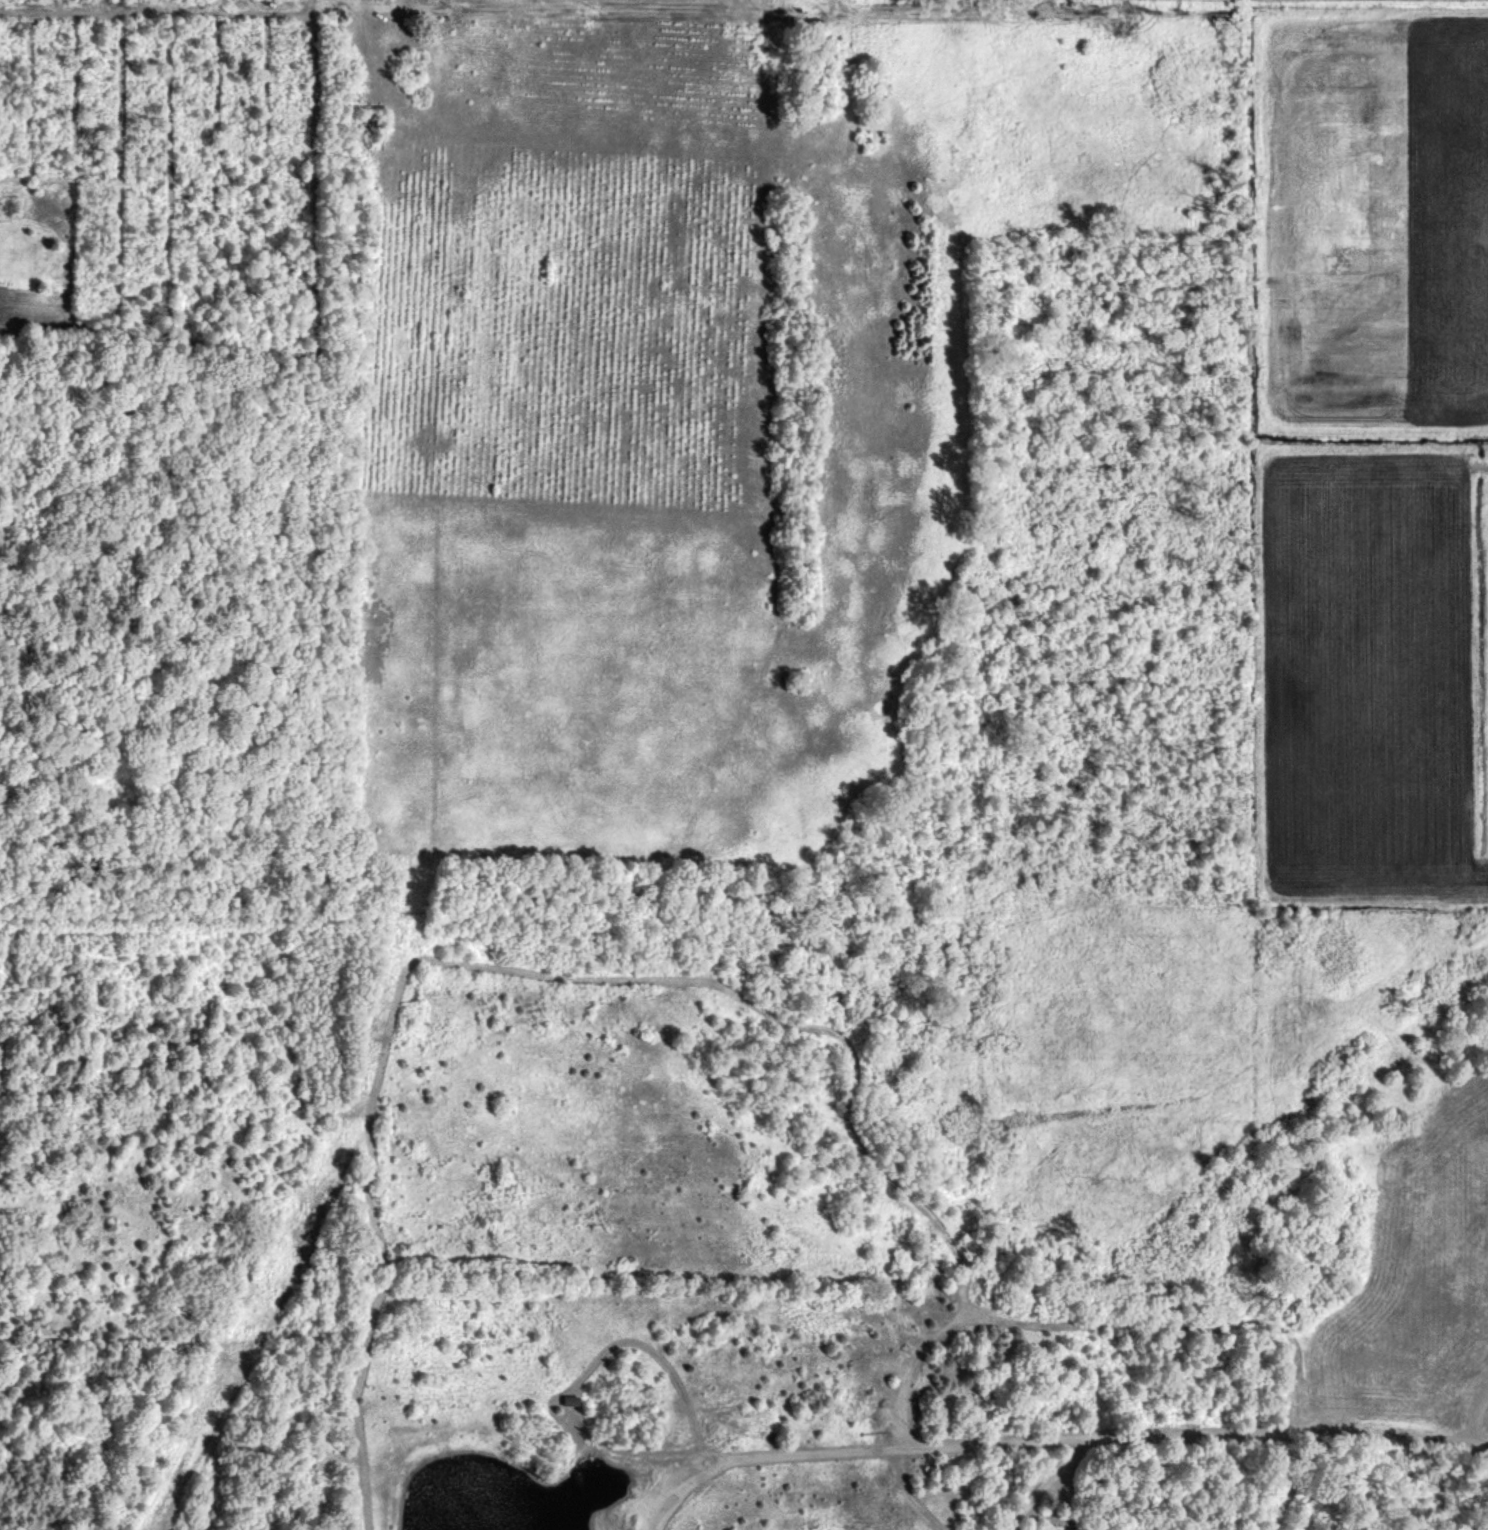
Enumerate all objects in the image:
road: (33, 1483)

